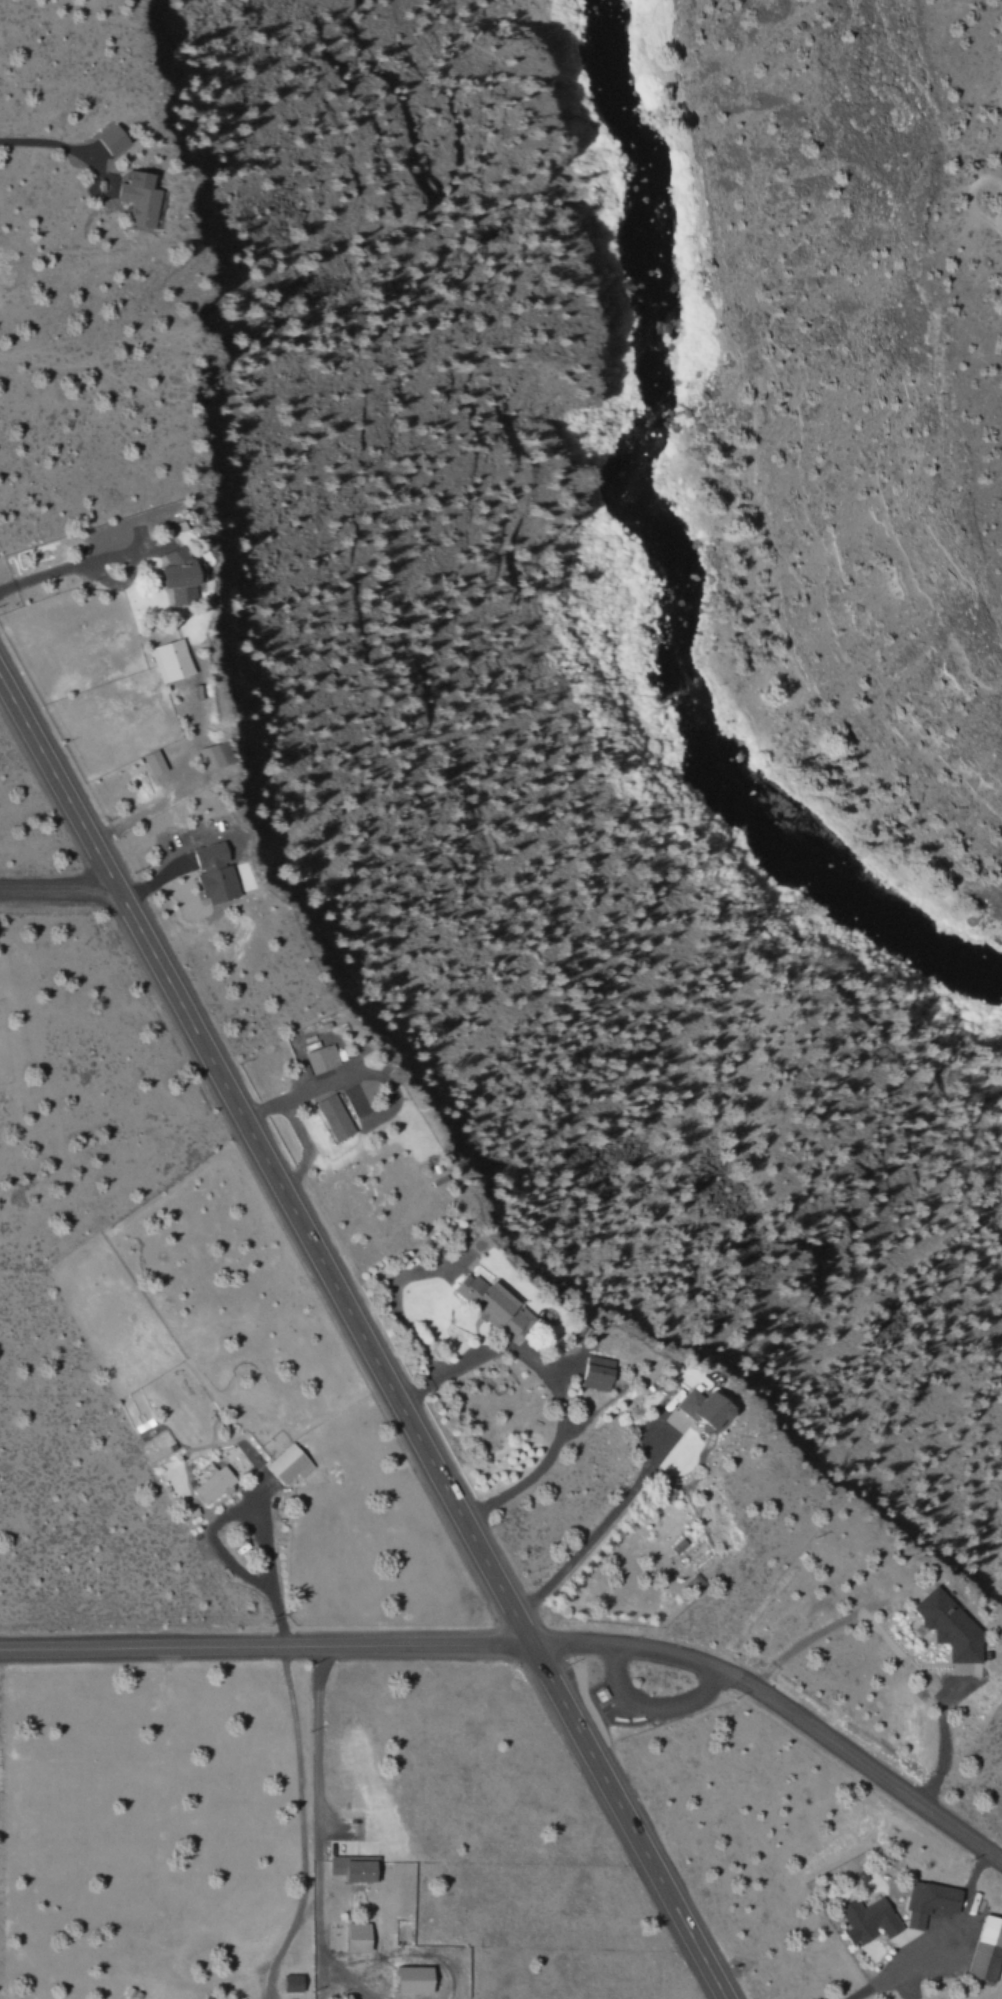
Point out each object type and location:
building: (113, 140)
building: (141, 199)
road: (995, 230)
river: (667, 561)
building: (176, 577)
building: (171, 661)
building: (212, 756)
building: (154, 764)
building: (215, 874)
road: (55, 891)
building: (322, 1059)
building: (334, 1118)
building: (494, 1306)
road: (358, 1343)
building: (598, 1373)
building: (706, 1410)
building: (290, 1465)
building: (214, 1485)
building: (679, 1546)
building: (950, 1627)
road: (263, 1648)
road: (780, 1711)
building: (355, 1868)
building: (931, 1902)
building: (869, 1920)
building: (359, 1937)
building: (988, 1950)
building: (415, 1979)
building: (293, 1983)
building: (210, 1998)

